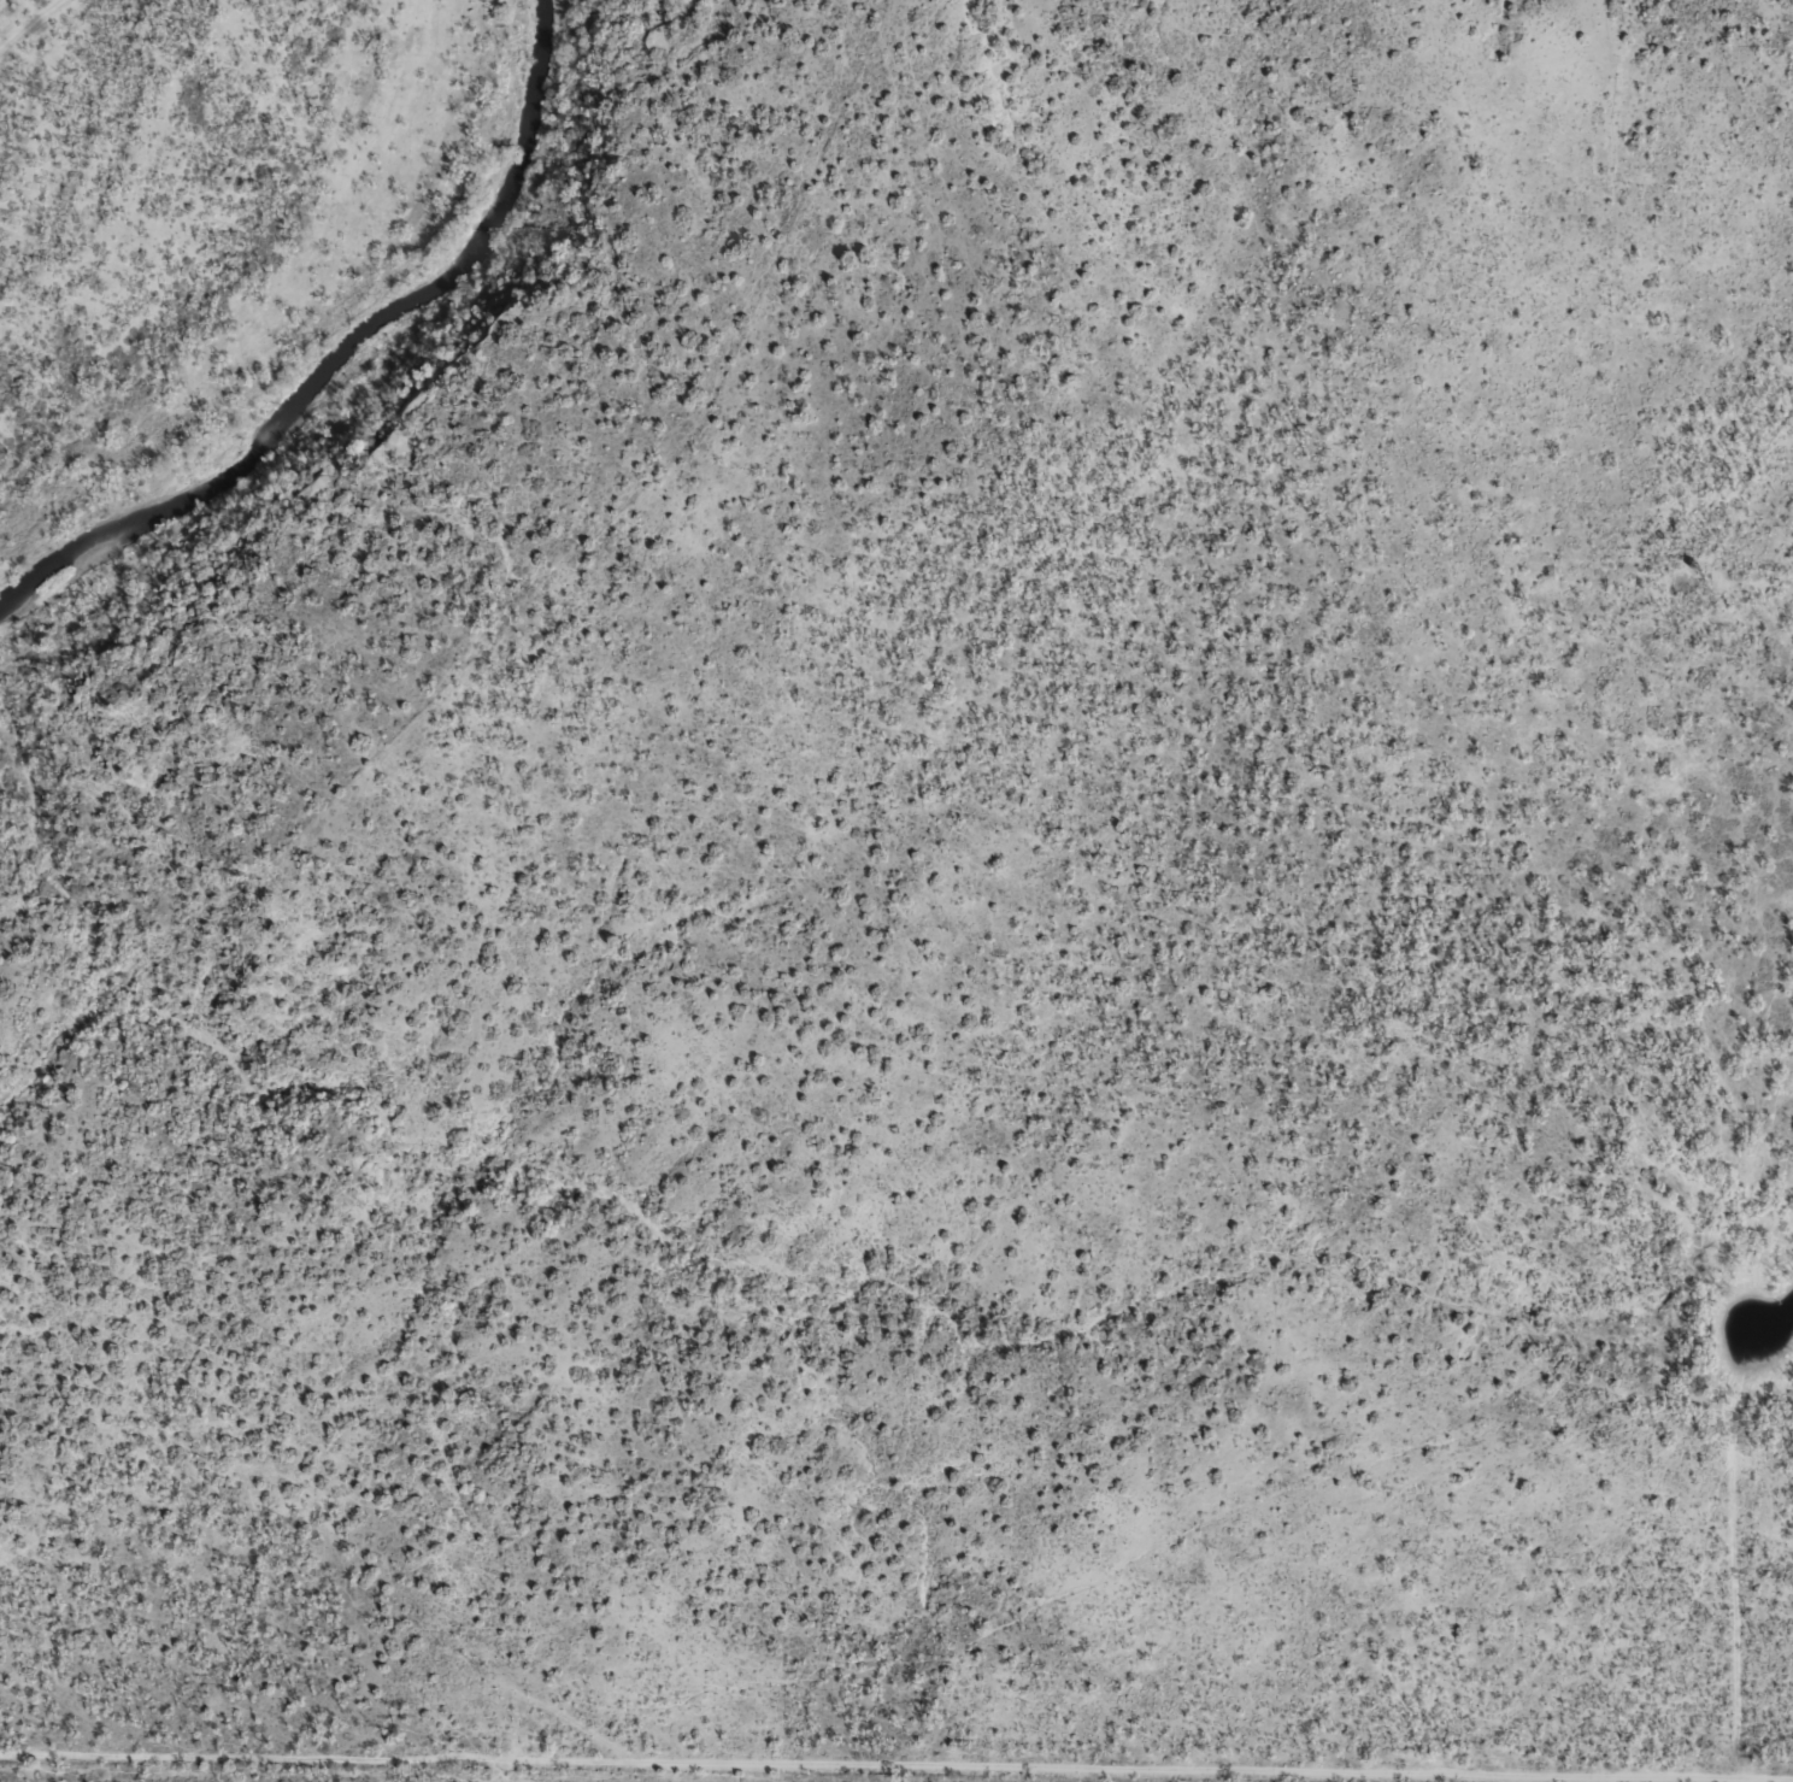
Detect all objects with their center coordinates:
river: (347, 351)
road: (475, 1757)

